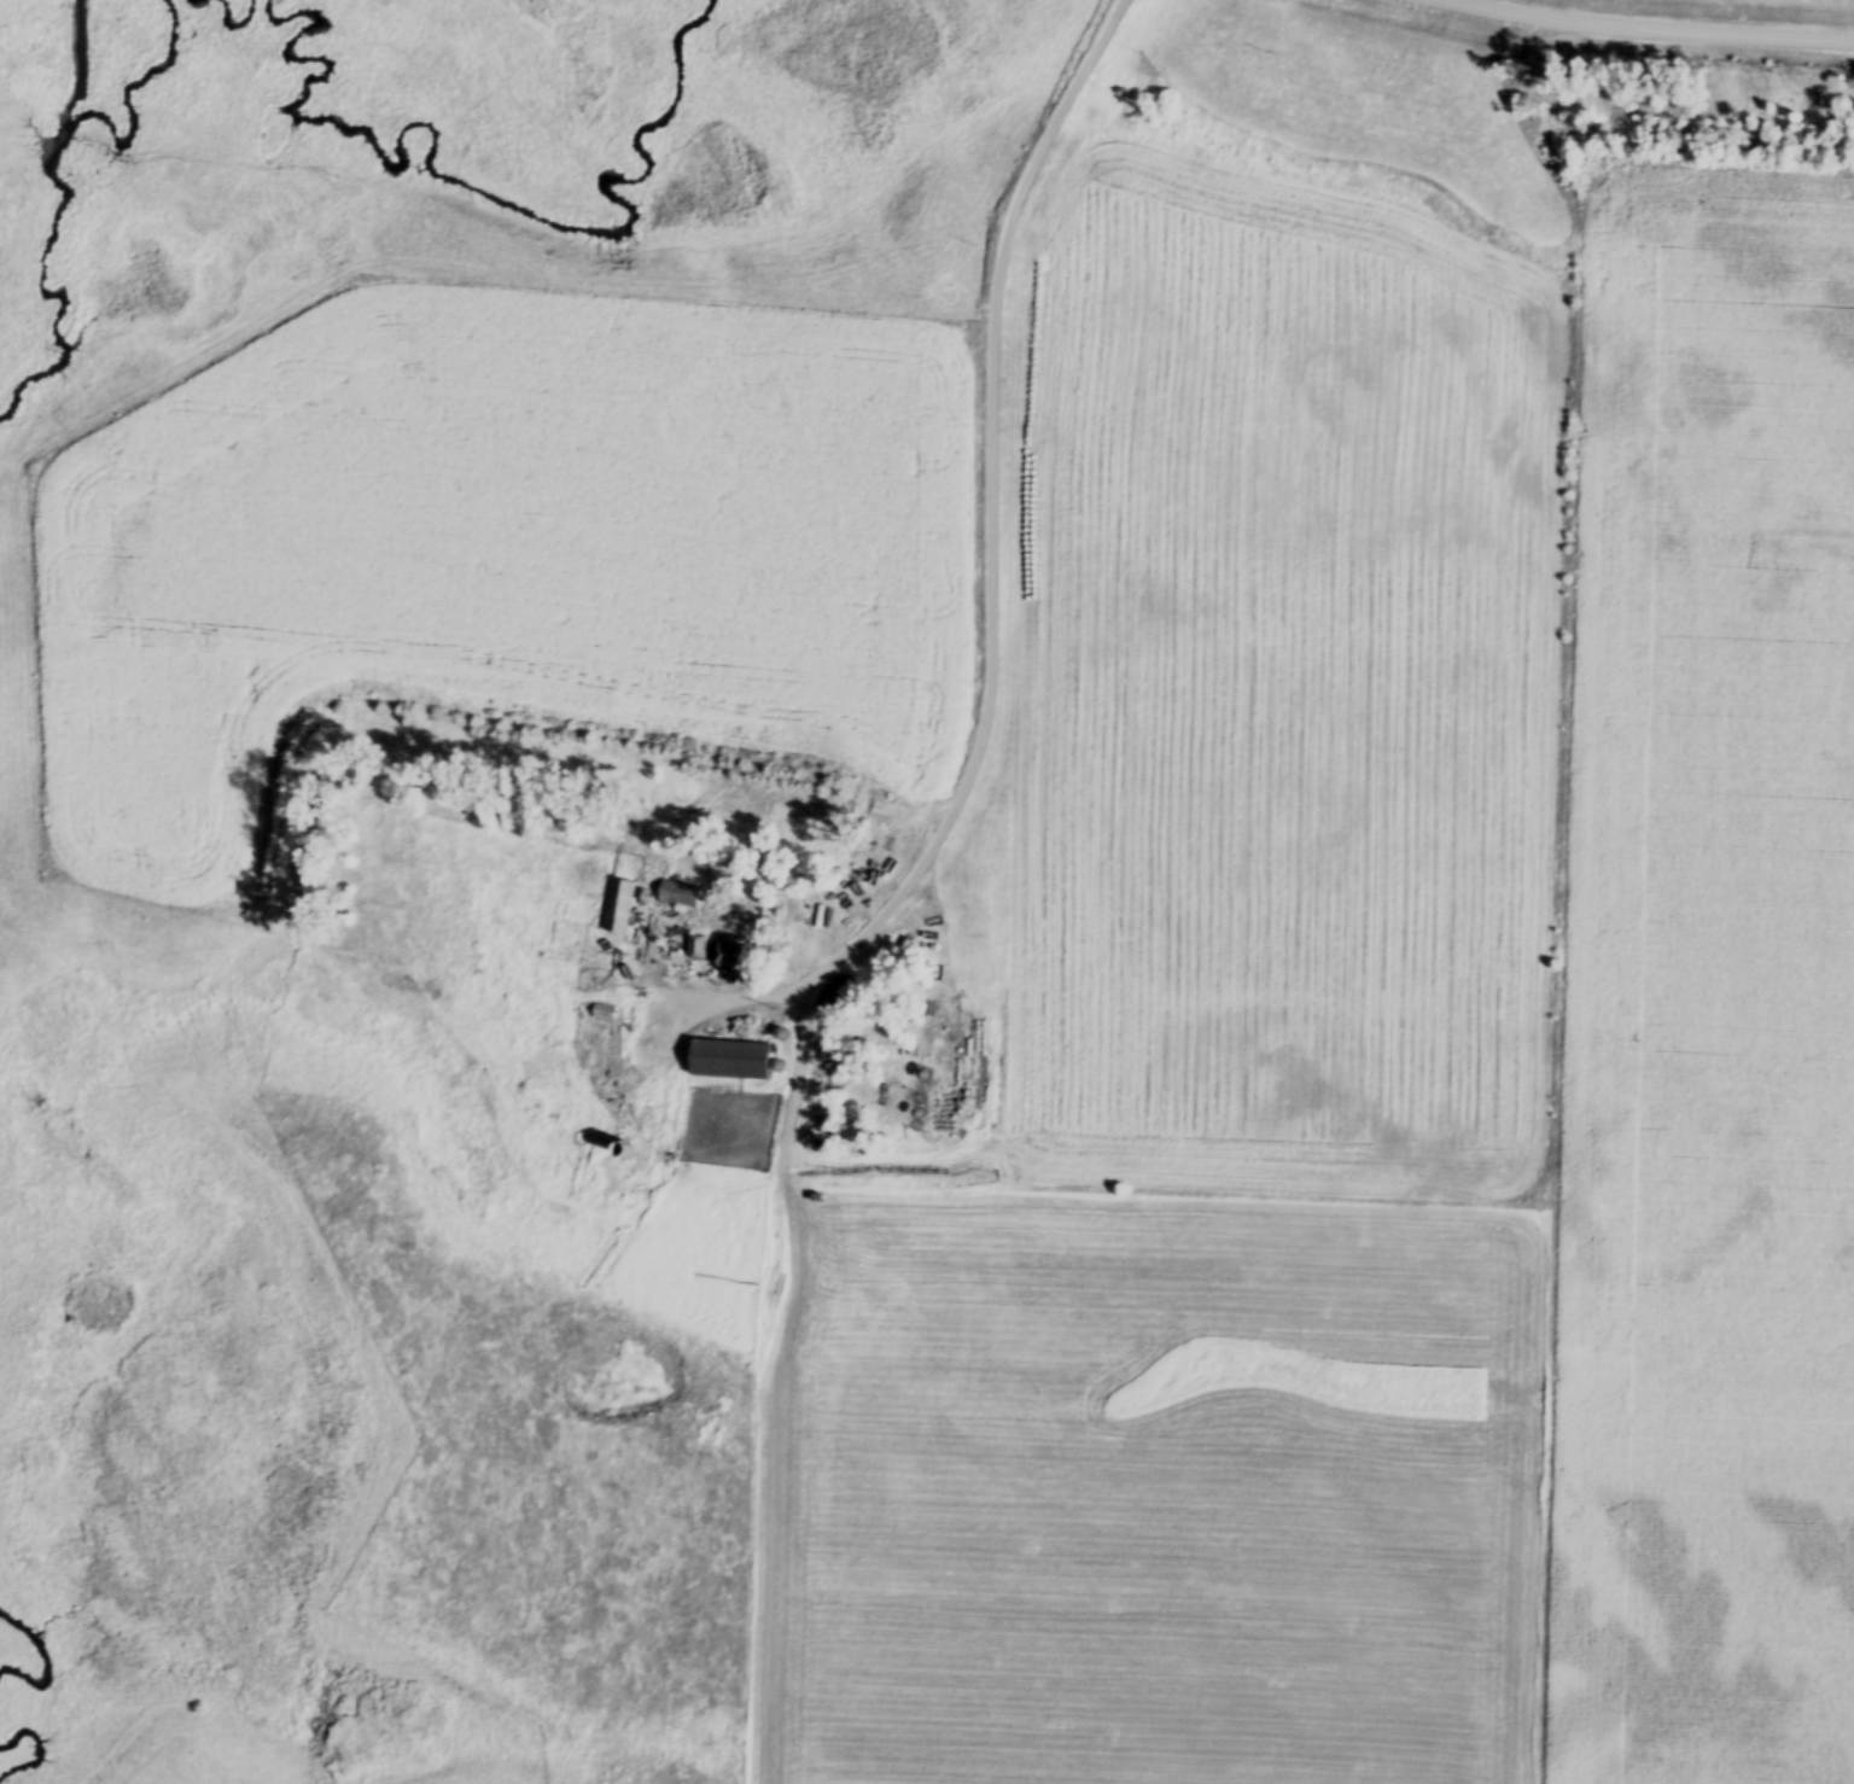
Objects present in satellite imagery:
road: (1660, 25)
road: (991, 513)
building: (680, 896)
building: (619, 909)
building: (699, 945)
building: (729, 958)
building: (729, 1062)

